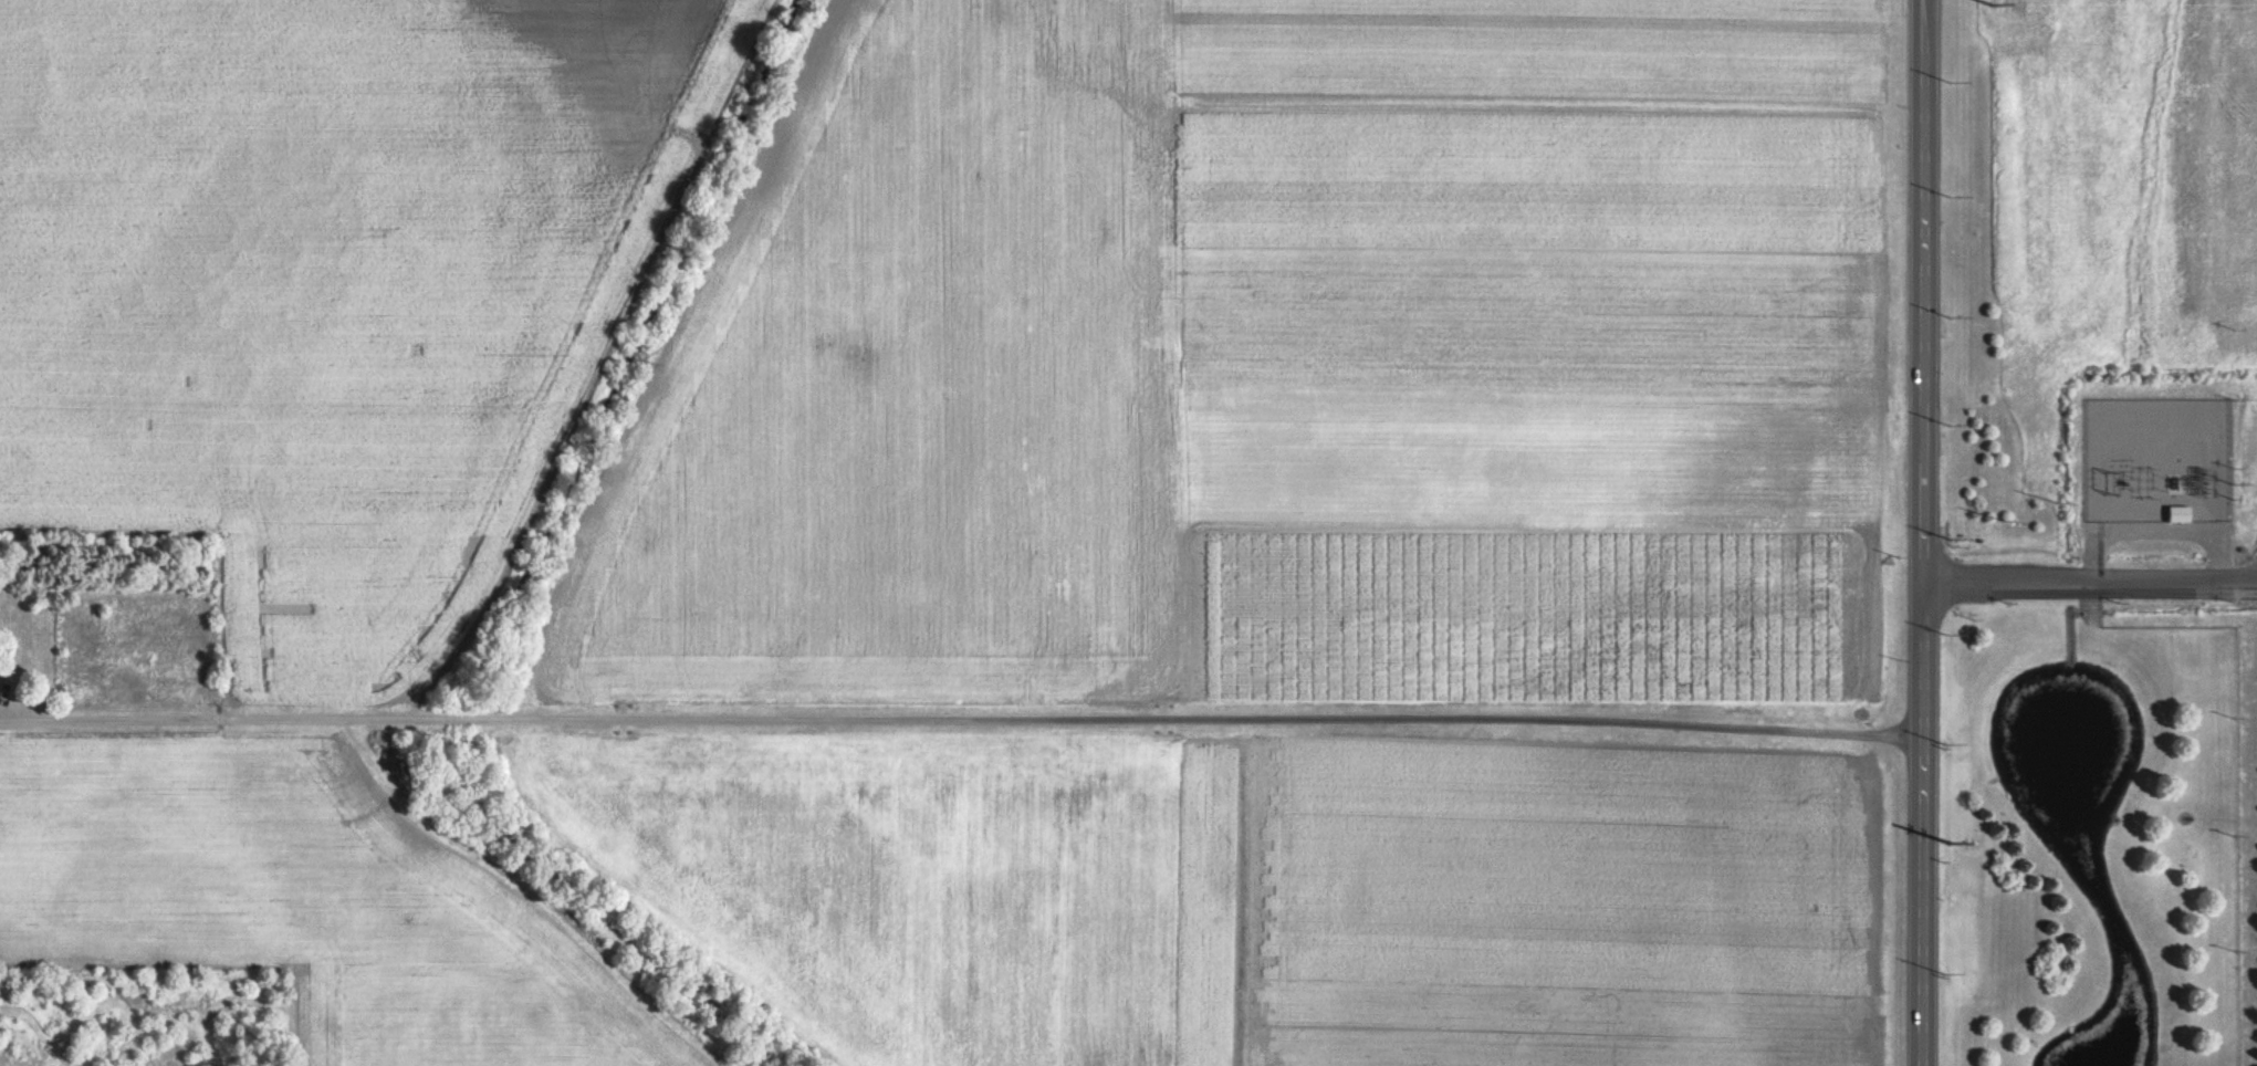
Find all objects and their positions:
power tower: (1994, 6)
power substation: (2157, 460)
building: (2180, 515)
road: (1921, 532)
road: (2159, 534)
road: (2097, 553)
road: (2222, 553)
road: (2089, 583)
road: (960, 715)
power tower: (1951, 844)

